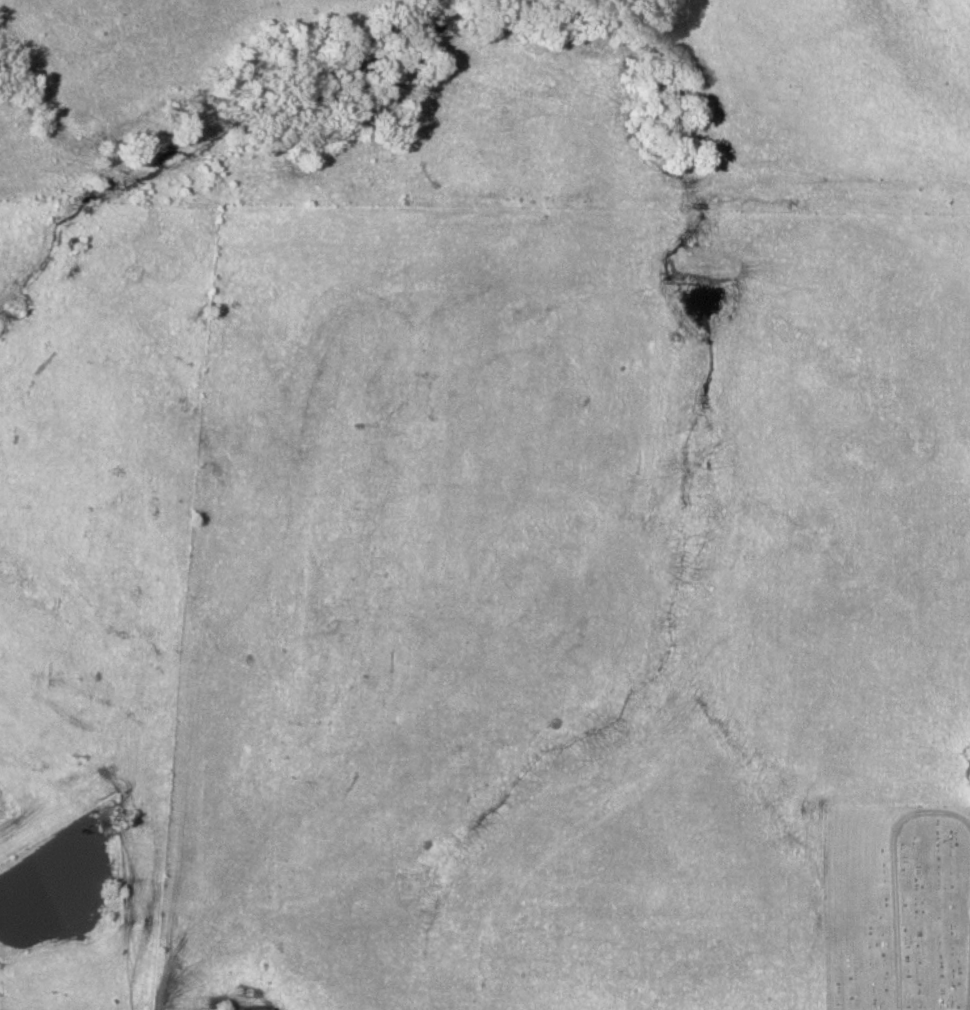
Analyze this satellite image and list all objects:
road: (894, 875)
park: (895, 907)
road: (968, 980)

